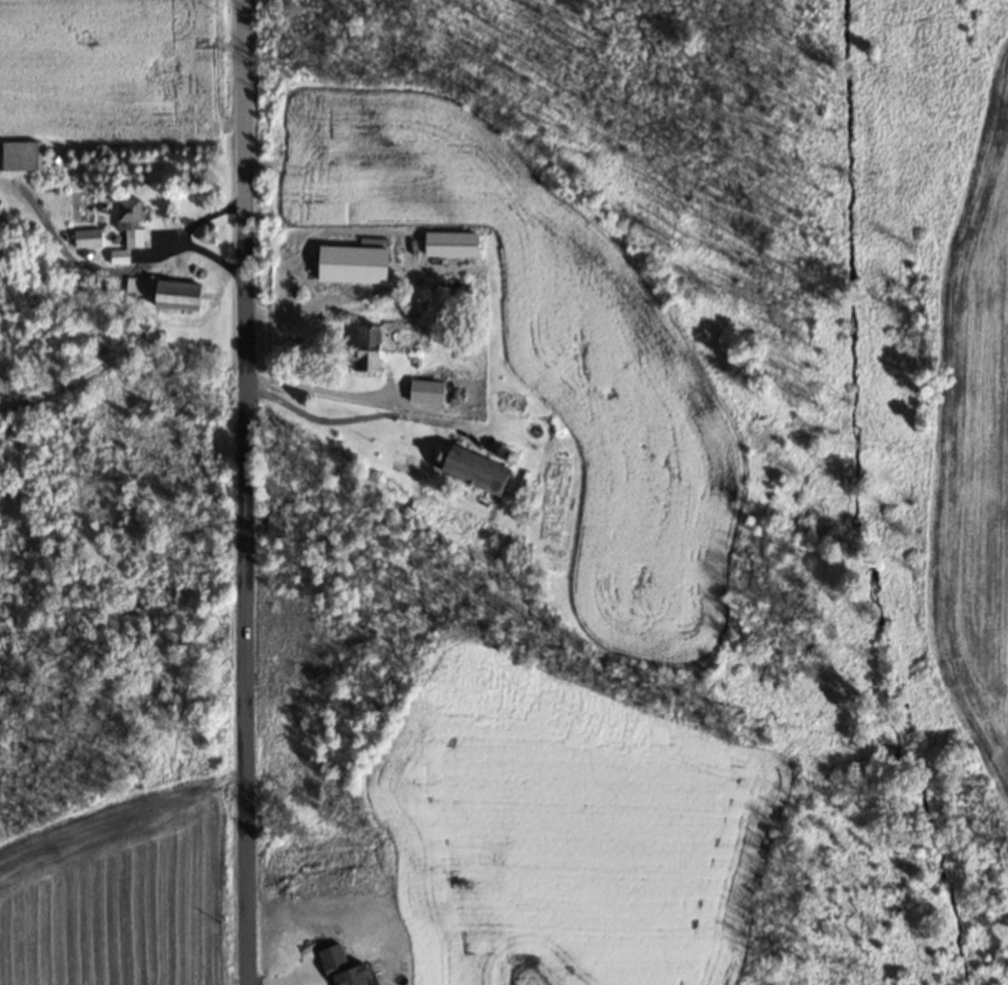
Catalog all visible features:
building: (20, 156)
building: (127, 221)
road: (182, 237)
building: (85, 239)
building: (115, 257)
building: (162, 293)
building: (379, 343)
road: (318, 390)
building: (437, 395)
building: (467, 471)
road: (245, 492)

